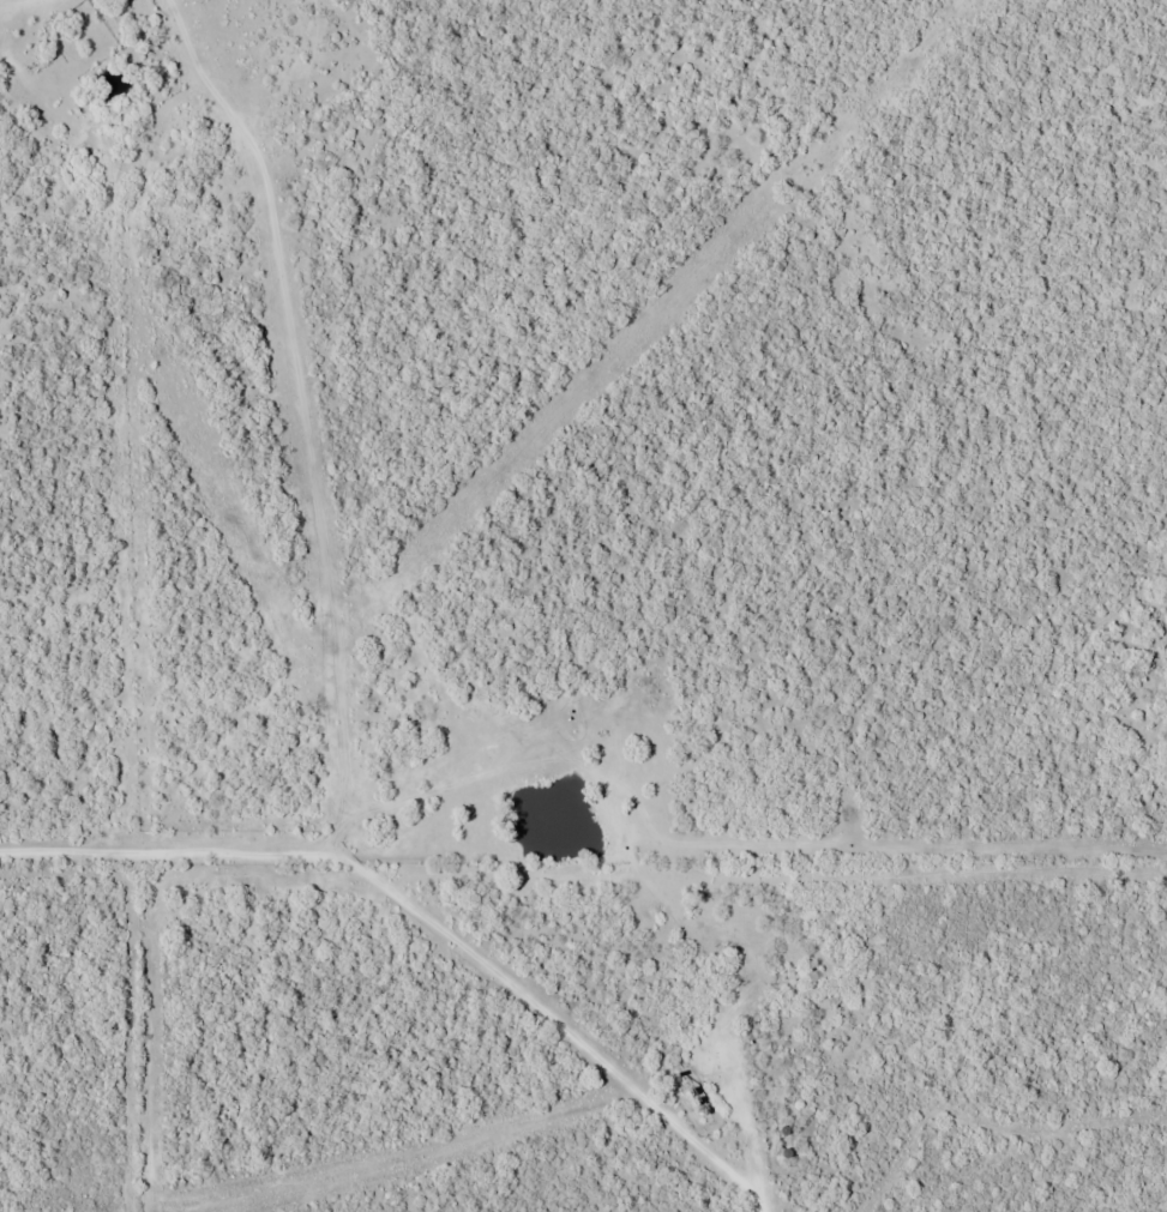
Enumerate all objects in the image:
road: (756, 1169)

